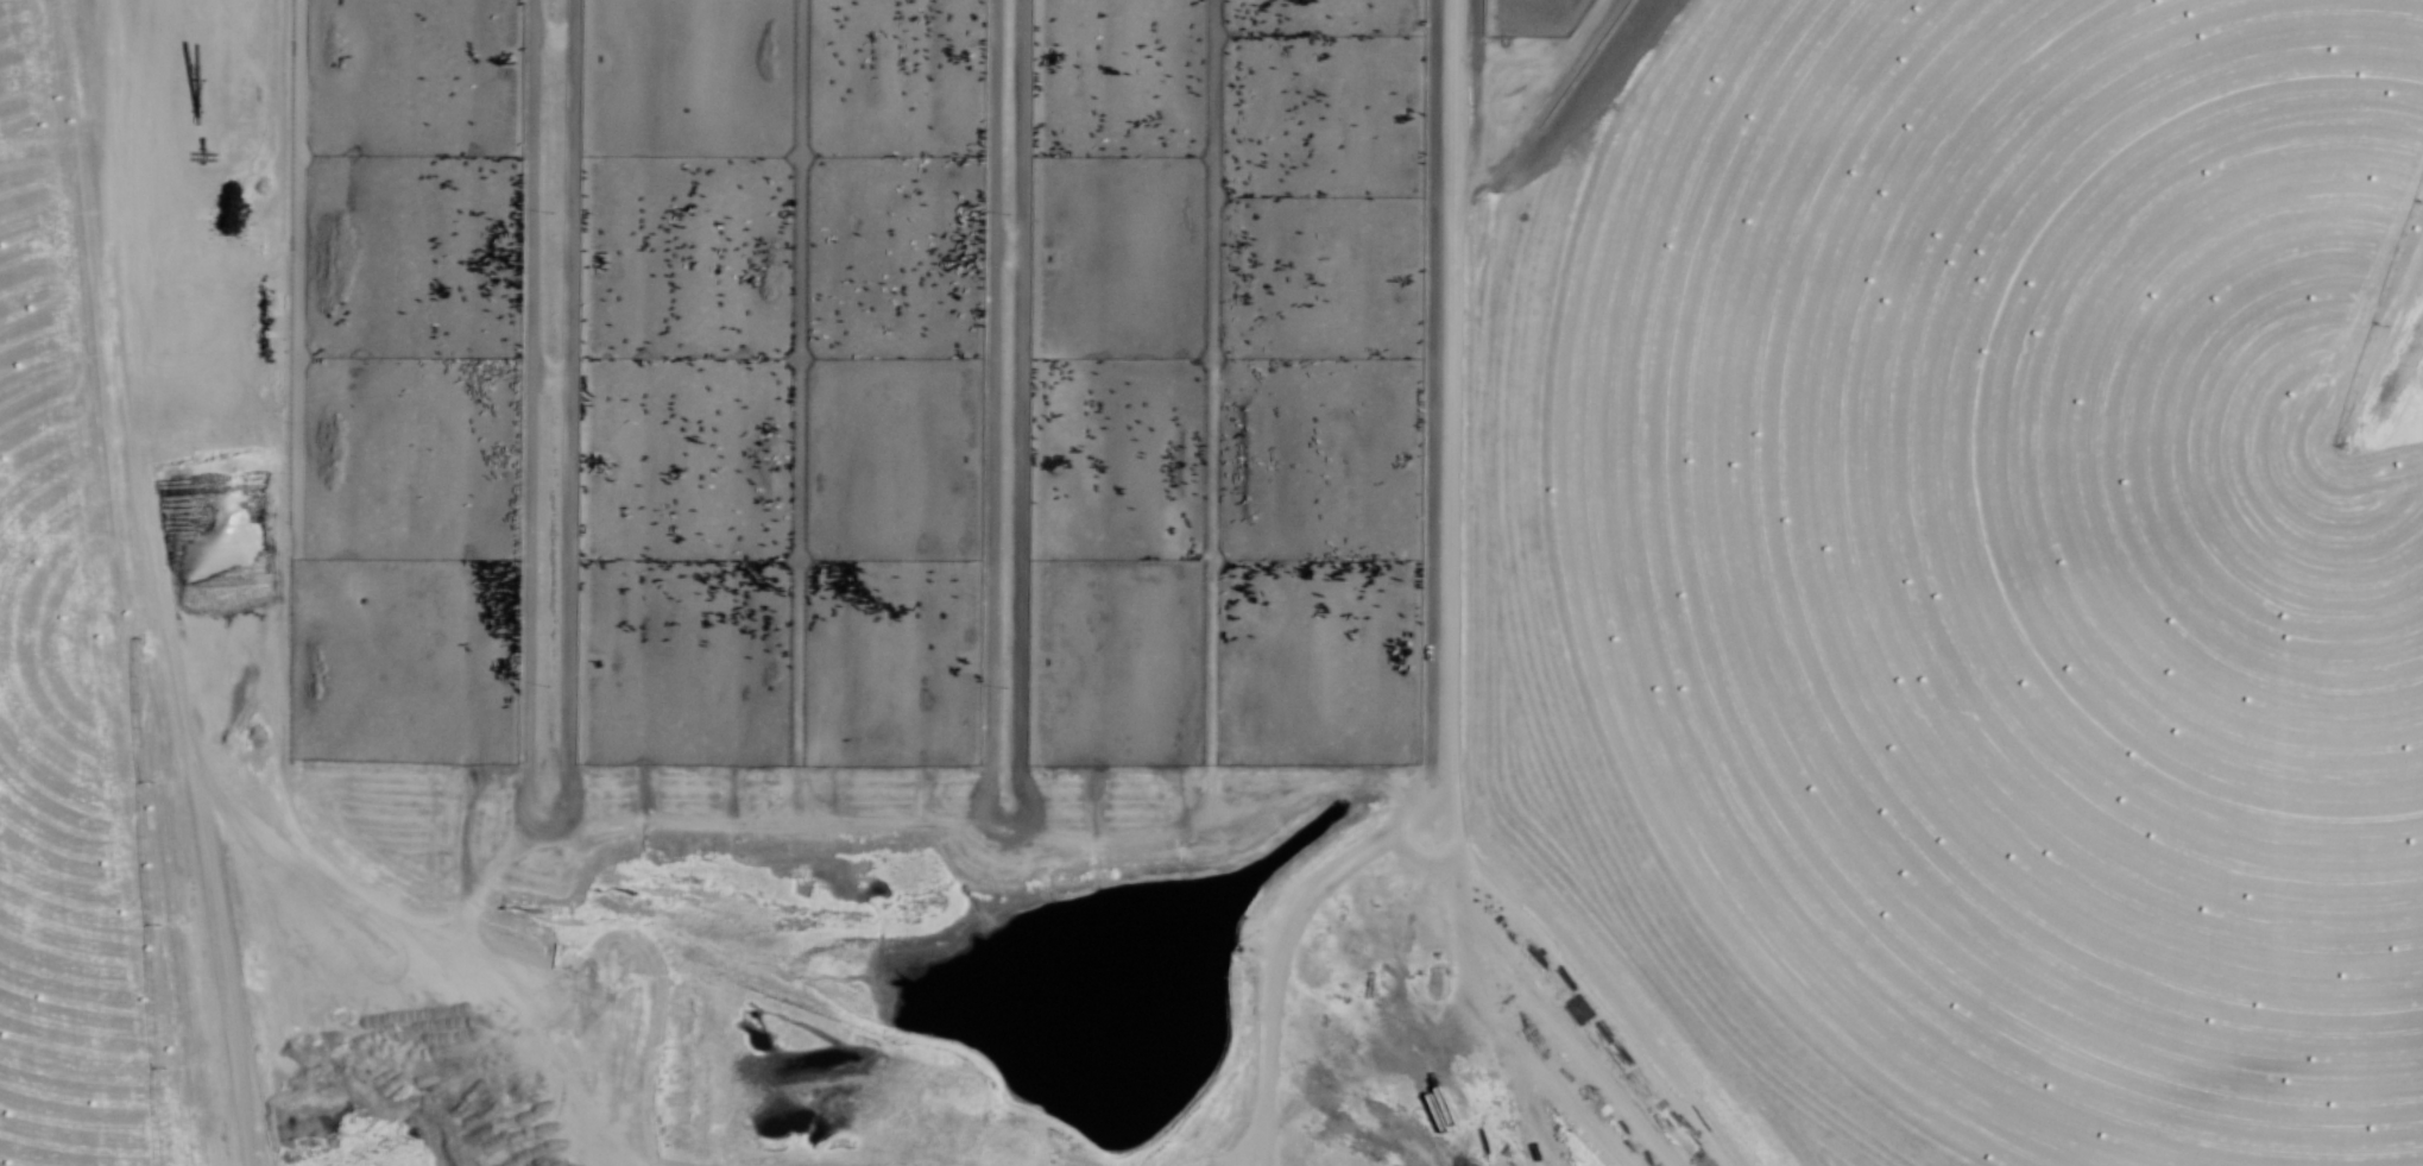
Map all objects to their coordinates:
road: (278, 434)
crop: (1965, 572)
road: (1435, 617)
crop: (65, 666)
road: (170, 689)
road: (547, 830)
road: (1002, 832)

